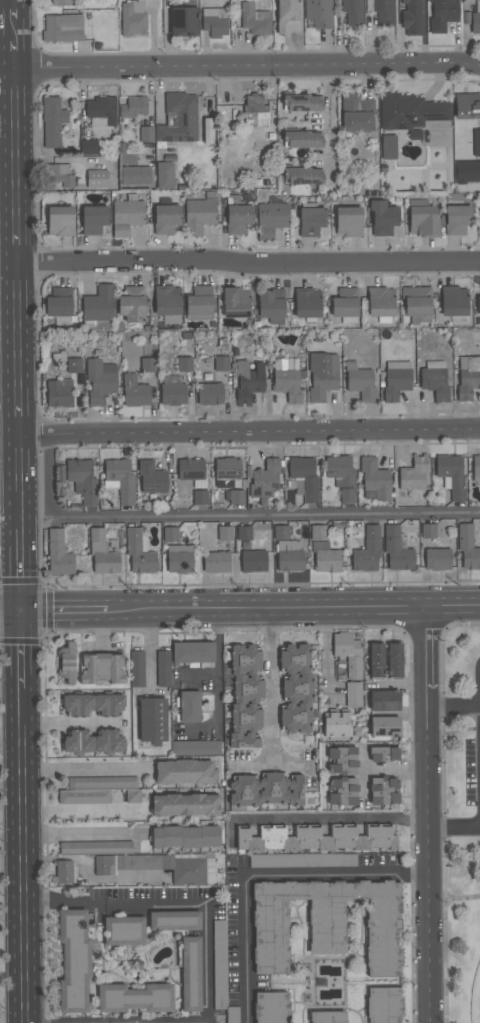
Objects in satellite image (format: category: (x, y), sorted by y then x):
building: (467, 0)
building: (62, 3)
road: (14, 10)
building: (382, 11)
building: (353, 12)
building: (319, 13)
building: (442, 14)
building: (289, 16)
building: (414, 18)
building: (133, 19)
building: (255, 20)
building: (183, 22)
building: (215, 22)
building: (475, 23)
building: (63, 28)
road: (14, 32)
road: (15, 57)
road: (248, 68)
building: (302, 103)
building: (134, 107)
building: (467, 107)
road: (8, 108)
building: (256, 110)
building: (101, 112)
building: (356, 113)
building: (411, 113)
building: (179, 119)
building: (52, 122)
road: (328, 123)
building: (146, 134)
building: (303, 140)
building: (476, 143)
road: (16, 145)
building: (388, 147)
building: (89, 148)
building: (467, 172)
building: (60, 175)
building: (164, 176)
building: (303, 176)
building: (97, 179)
building: (198, 216)
building: (271, 218)
building: (166, 219)
building: (238, 219)
building: (383, 219)
building: (93, 220)
building: (457, 220)
building: (60, 221)
building: (311, 221)
building: (423, 221)
building: (348, 222)
road: (17, 242)
road: (248, 264)
building: (454, 301)
building: (59, 302)
building: (236, 302)
building: (380, 302)
building: (199, 303)
building: (307, 303)
building: (345, 303)
building: (131, 304)
building: (167, 304)
building: (99, 305)
building: (417, 305)
building: (478, 305)
building: (272, 306)
road: (18, 326)
building: (221, 363)
building: (184, 364)
building: (148, 365)
building: (74, 366)
building: (322, 376)
building: (468, 377)
building: (287, 379)
building: (396, 380)
building: (435, 380)
building: (100, 381)
building: (248, 382)
building: (359, 382)
building: (172, 390)
building: (135, 392)
building: (58, 394)
building: (210, 394)
road: (19, 412)
road: (249, 434)
building: (476, 466)
building: (190, 470)
building: (227, 473)
building: (414, 474)
building: (451, 475)
building: (305, 476)
building: (341, 476)
building: (152, 478)
building: (82, 480)
building: (120, 480)
building: (265, 480)
building: (374, 481)
road: (20, 482)
building: (234, 496)
building: (200, 498)
road: (250, 518)
building: (428, 531)
building: (225, 533)
building: (317, 533)
building: (171, 534)
building: (244, 536)
building: (468, 547)
building: (397, 550)
building: (287, 551)
building: (368, 551)
building: (139, 552)
building: (102, 554)
building: (59, 555)
building: (179, 558)
building: (325, 558)
building: (437, 559)
building: (253, 561)
building: (216, 562)
road: (21, 570)
road: (294, 608)
road: (65, 611)
road: (10, 612)
road: (148, 649)
road: (21, 650)
building: (192, 652)
building: (376, 658)
building: (394, 658)
building: (66, 664)
building: (349, 664)
road: (217, 666)
building: (102, 667)
building: (136, 668)
building: (163, 668)
road: (198, 672)
building: (295, 687)
road: (274, 688)
building: (246, 695)
building: (384, 699)
building: (92, 704)
building: (189, 705)
road: (453, 710)
building: (152, 718)
road: (67, 723)
building: (335, 724)
building: (385, 725)
road: (460, 732)
road: (11, 739)
building: (94, 742)
building: (195, 746)
parking lot: (474, 751)
building: (384, 753)
road: (272, 767)
road: (80, 768)
road: (395, 770)
building: (184, 771)
building: (342, 776)
road: (364, 777)
building: (98, 789)
building: (265, 790)
building: (384, 790)
building: (185, 803)
road: (427, 814)
road: (316, 819)
park: (460, 820)
road: (454, 829)
road: (81, 834)
building: (185, 836)
building: (316, 838)
road: (23, 855)
building: (141, 861)
building: (262, 861)
building: (332, 861)
building: (65, 871)
road: (336, 874)
road: (82, 876)
road: (461, 897)
road: (114, 905)
building: (174, 919)
building: (326, 923)
building: (123, 931)
road: (244, 950)
building: (73, 960)
road: (205, 963)
building: (219, 965)
building: (190, 973)
building: (135, 998)
park: (476, 999)
building: (384, 1004)
building: (271, 1006)
building: (328, 1016)
road: (114, 1022)

